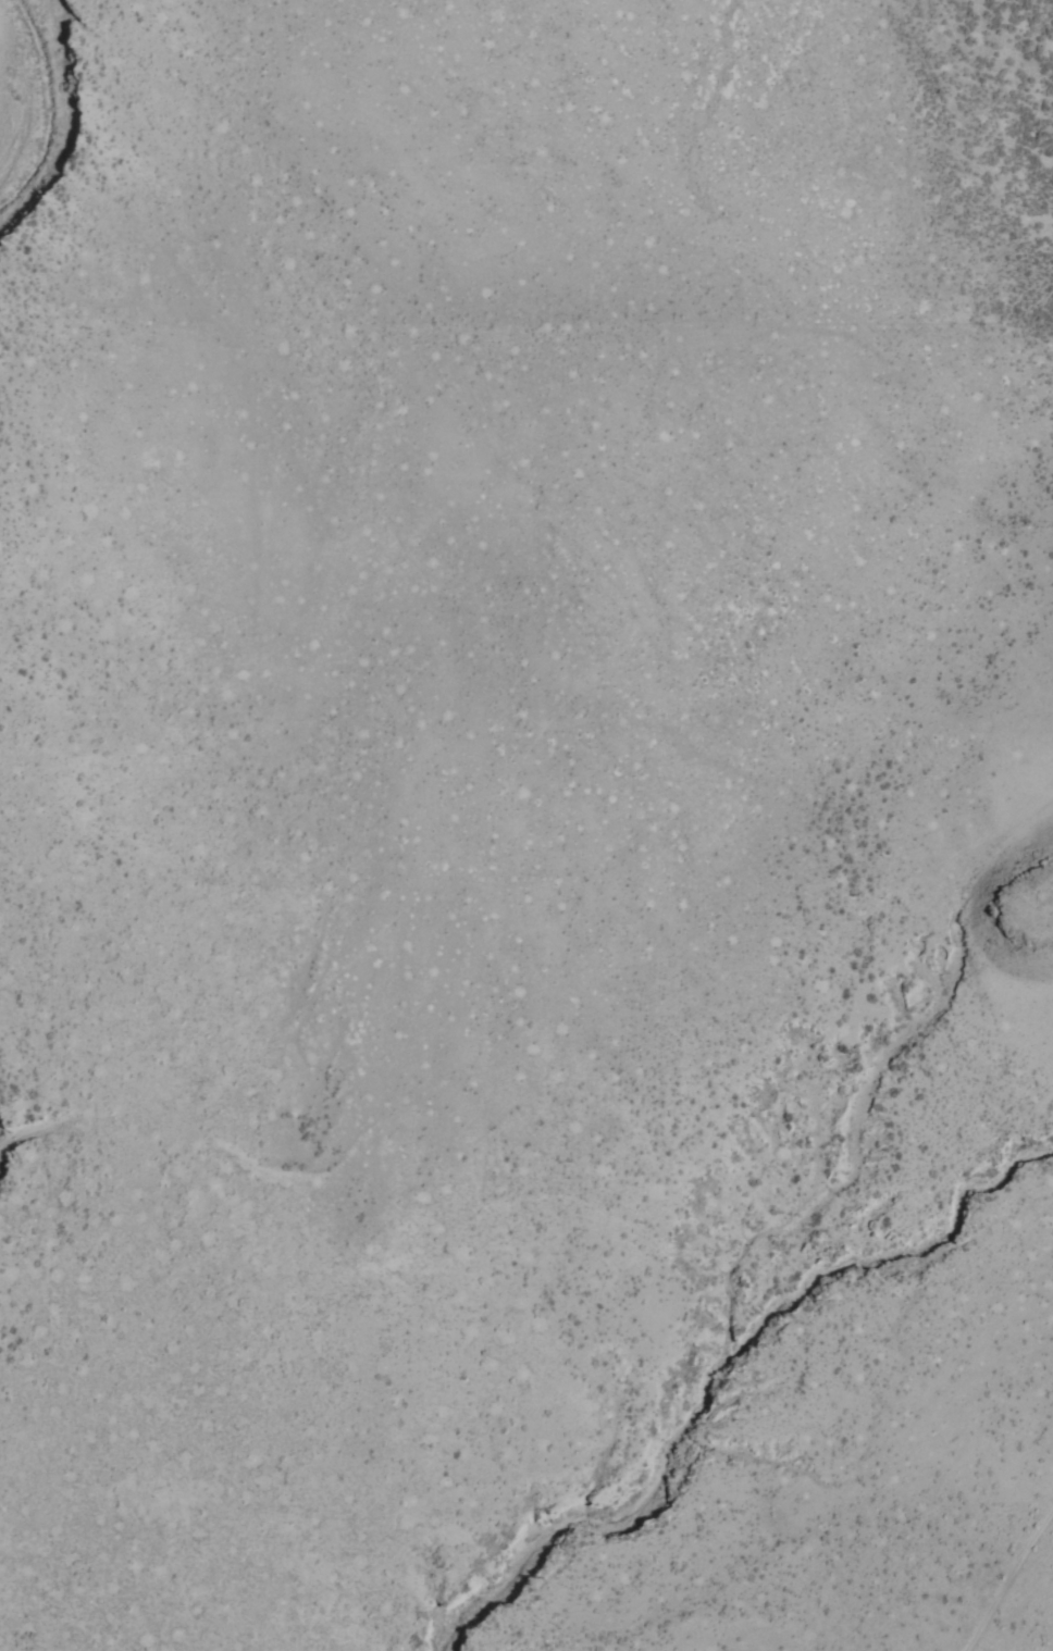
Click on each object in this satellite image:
river: (13, 67)
river: (705, 1343)
road: (1008, 1581)

